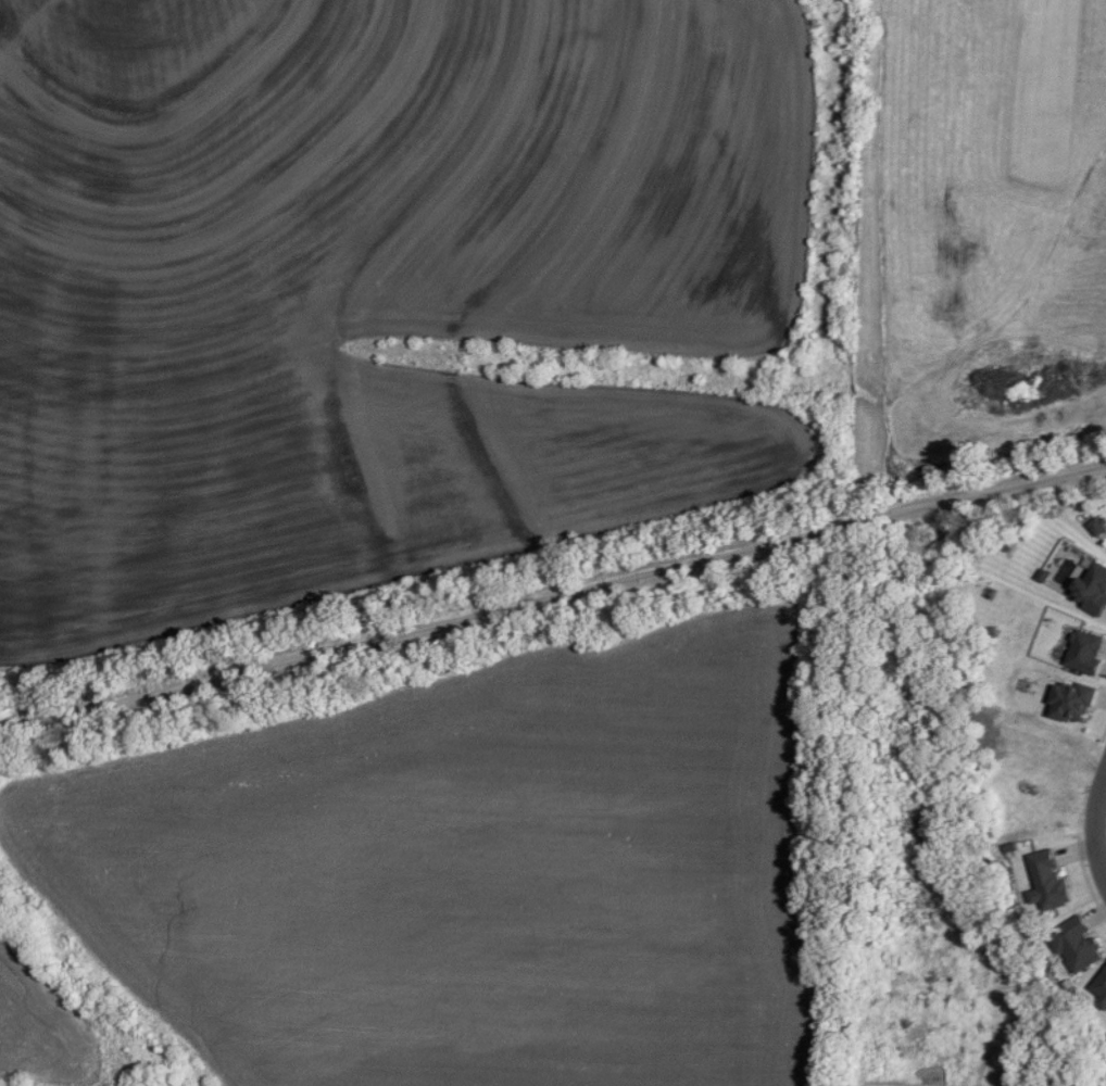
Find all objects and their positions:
crop: (404, 294)
road: (442, 576)
road: (552, 592)
road: (1094, 828)
crop: (467, 869)
crop: (65, 1021)

